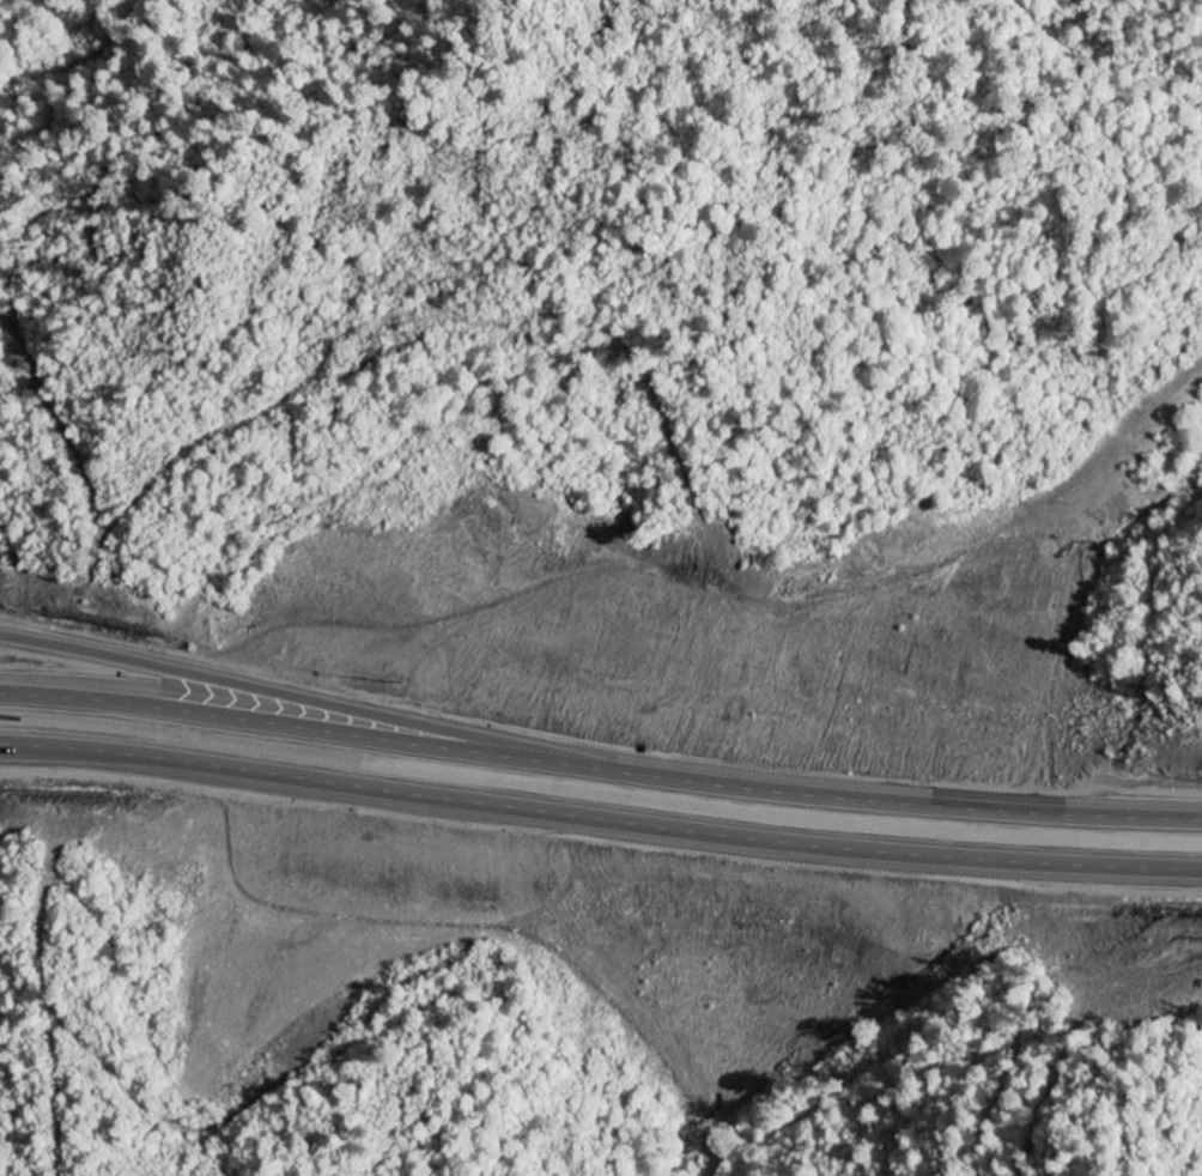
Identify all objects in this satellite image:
road: (299, 707)
road: (600, 770)
road: (600, 822)

